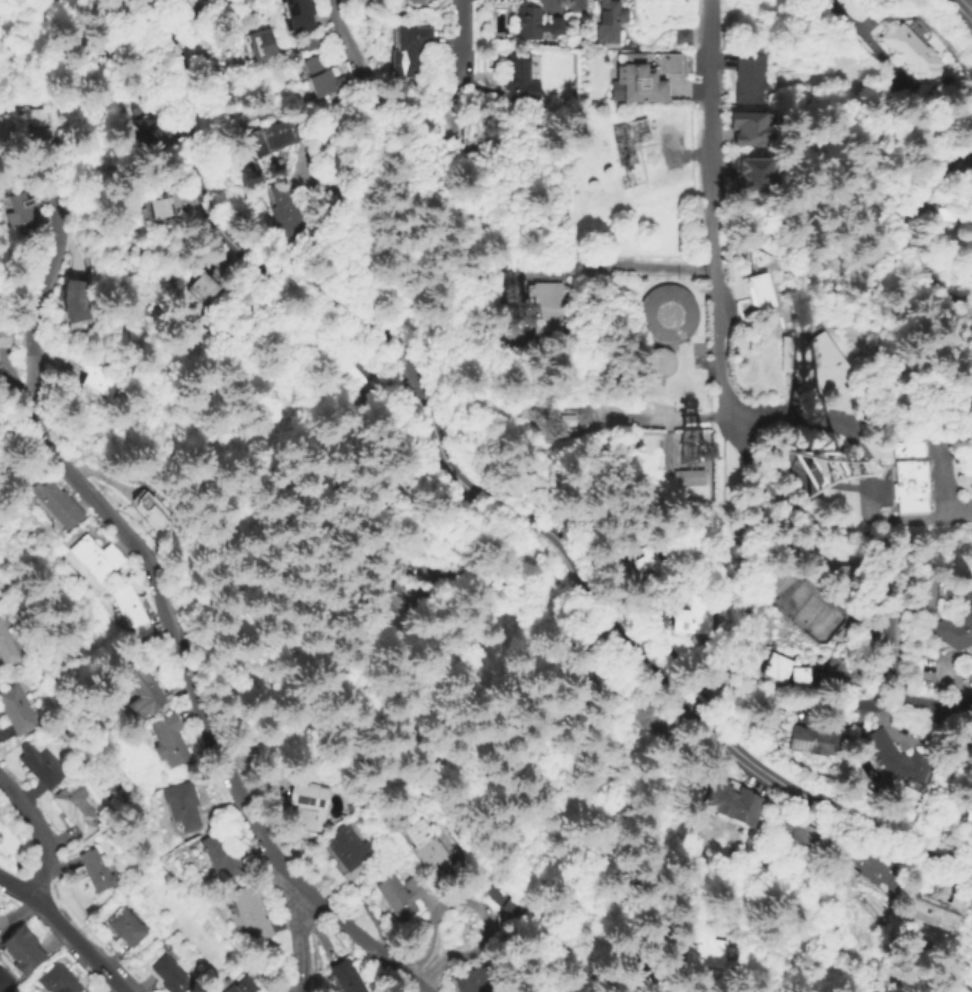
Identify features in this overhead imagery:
road: (956, 0)
building: (373, 1)
building: (418, 2)
road: (963, 9)
building: (299, 14)
building: (115, 20)
building: (610, 21)
building: (535, 24)
building: (682, 38)
building: (309, 42)
building: (258, 43)
road: (869, 45)
road: (351, 49)
road: (177, 50)
building: (913, 51)
building: (409, 53)
road: (460, 55)
building: (319, 76)
building: (644, 76)
building: (751, 77)
building: (517, 78)
building: (22, 121)
building: (750, 127)
building: (142, 129)
building: (474, 129)
road: (704, 133)
building: (268, 136)
building: (629, 139)
road: (968, 153)
building: (752, 175)
road: (353, 179)
building: (16, 205)
building: (285, 208)
building: (158, 209)
building: (956, 214)
road: (906, 227)
road: (610, 268)
building: (971, 272)
building: (216, 275)
building: (762, 284)
building: (206, 288)
building: (77, 301)
building: (551, 308)
building: (669, 314)
water tower: (669, 314)
building: (6, 338)
road: (718, 341)
building: (817, 361)
building: (661, 364)
water tower: (661, 364)
building: (99, 381)
building: (348, 385)
road: (666, 410)
building: (568, 420)
road: (22, 435)
road: (865, 476)
road: (101, 477)
building: (691, 478)
building: (912, 478)
building: (58, 505)
building: (154, 511)
road: (827, 517)
road: (529, 519)
road: (740, 549)
building: (96, 559)
building: (646, 566)
road: (157, 586)
building: (407, 602)
park: (801, 605)
building: (957, 611)
building: (130, 612)
building: (693, 619)
building: (6, 649)
road: (524, 669)
building: (788, 671)
building: (598, 674)
building: (143, 690)
road: (901, 695)
building: (16, 711)
building: (654, 721)
building: (818, 740)
building: (168, 742)
building: (900, 758)
building: (41, 767)
building: (738, 804)
building: (181, 805)
building: (309, 806)
building: (75, 808)
building: (349, 808)
building: (969, 810)
building: (803, 831)
road: (40, 834)
building: (432, 845)
building: (347, 849)
building: (219, 857)
building: (95, 873)
building: (881, 873)
building: (403, 895)
building: (504, 896)
road: (481, 906)
road: (18, 912)
road: (365, 913)
building: (943, 913)
building: (250, 914)
road: (7, 924)
building: (126, 928)
road: (64, 931)
road: (298, 937)
road: (52, 939)
building: (707, 945)
building: (22, 951)
building: (166, 972)
building: (346, 978)
building: (57, 980)
building: (625, 980)
building: (471, 981)
building: (5, 983)
building: (243, 986)
road: (670, 986)
road: (302, 990)

